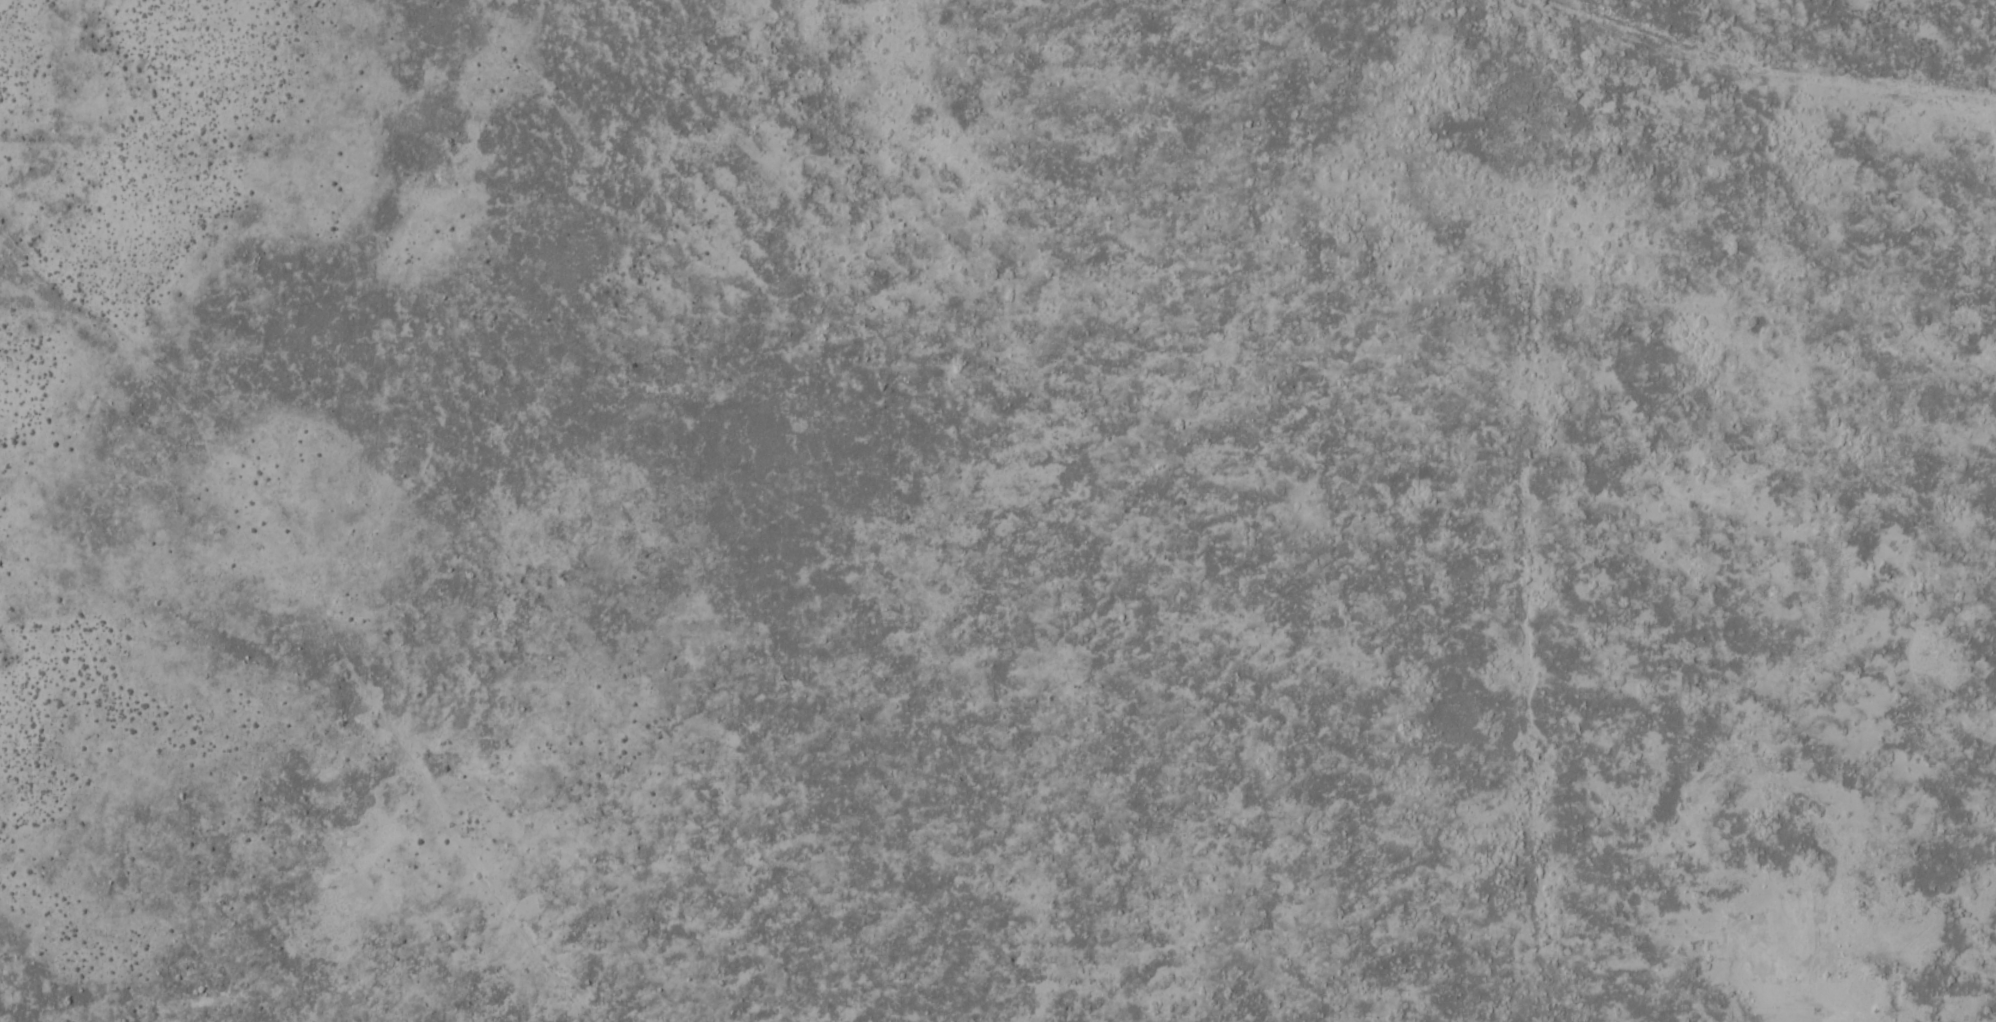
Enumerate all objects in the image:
road: (1738, 945)

